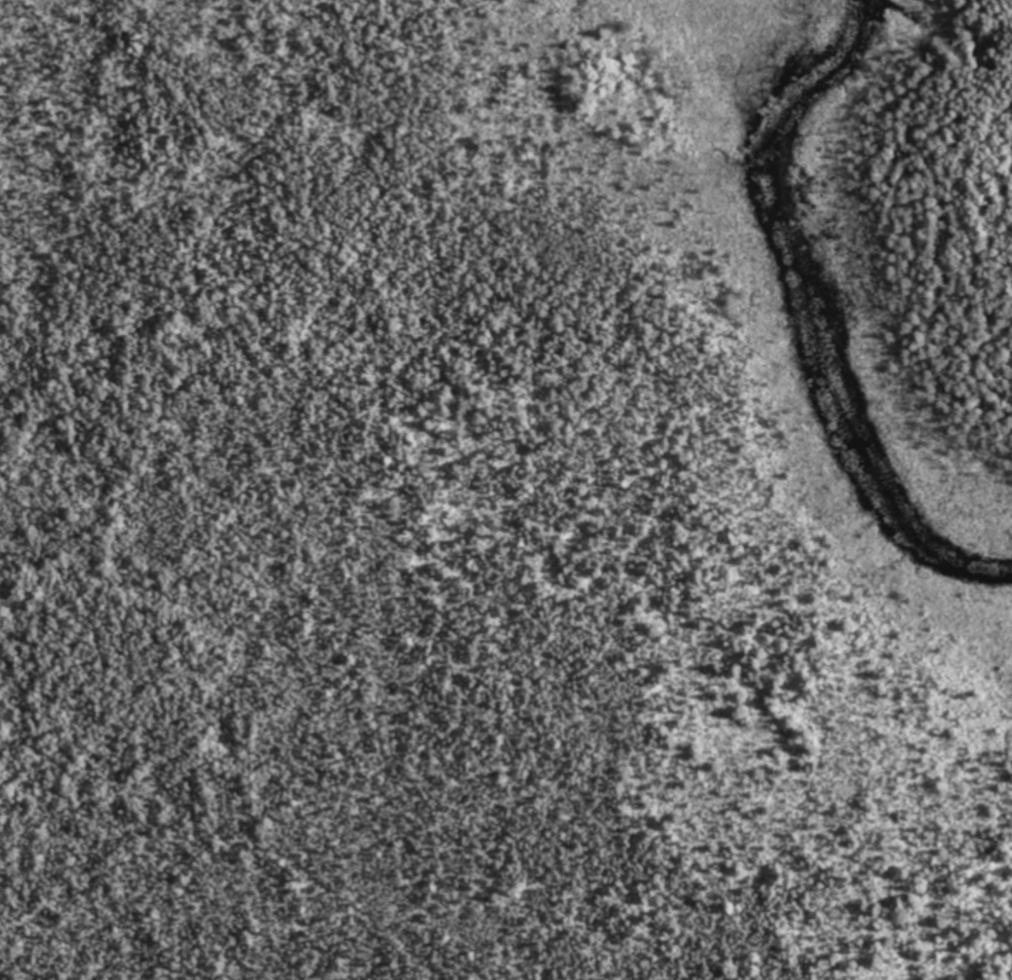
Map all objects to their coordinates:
river: (810, 309)

